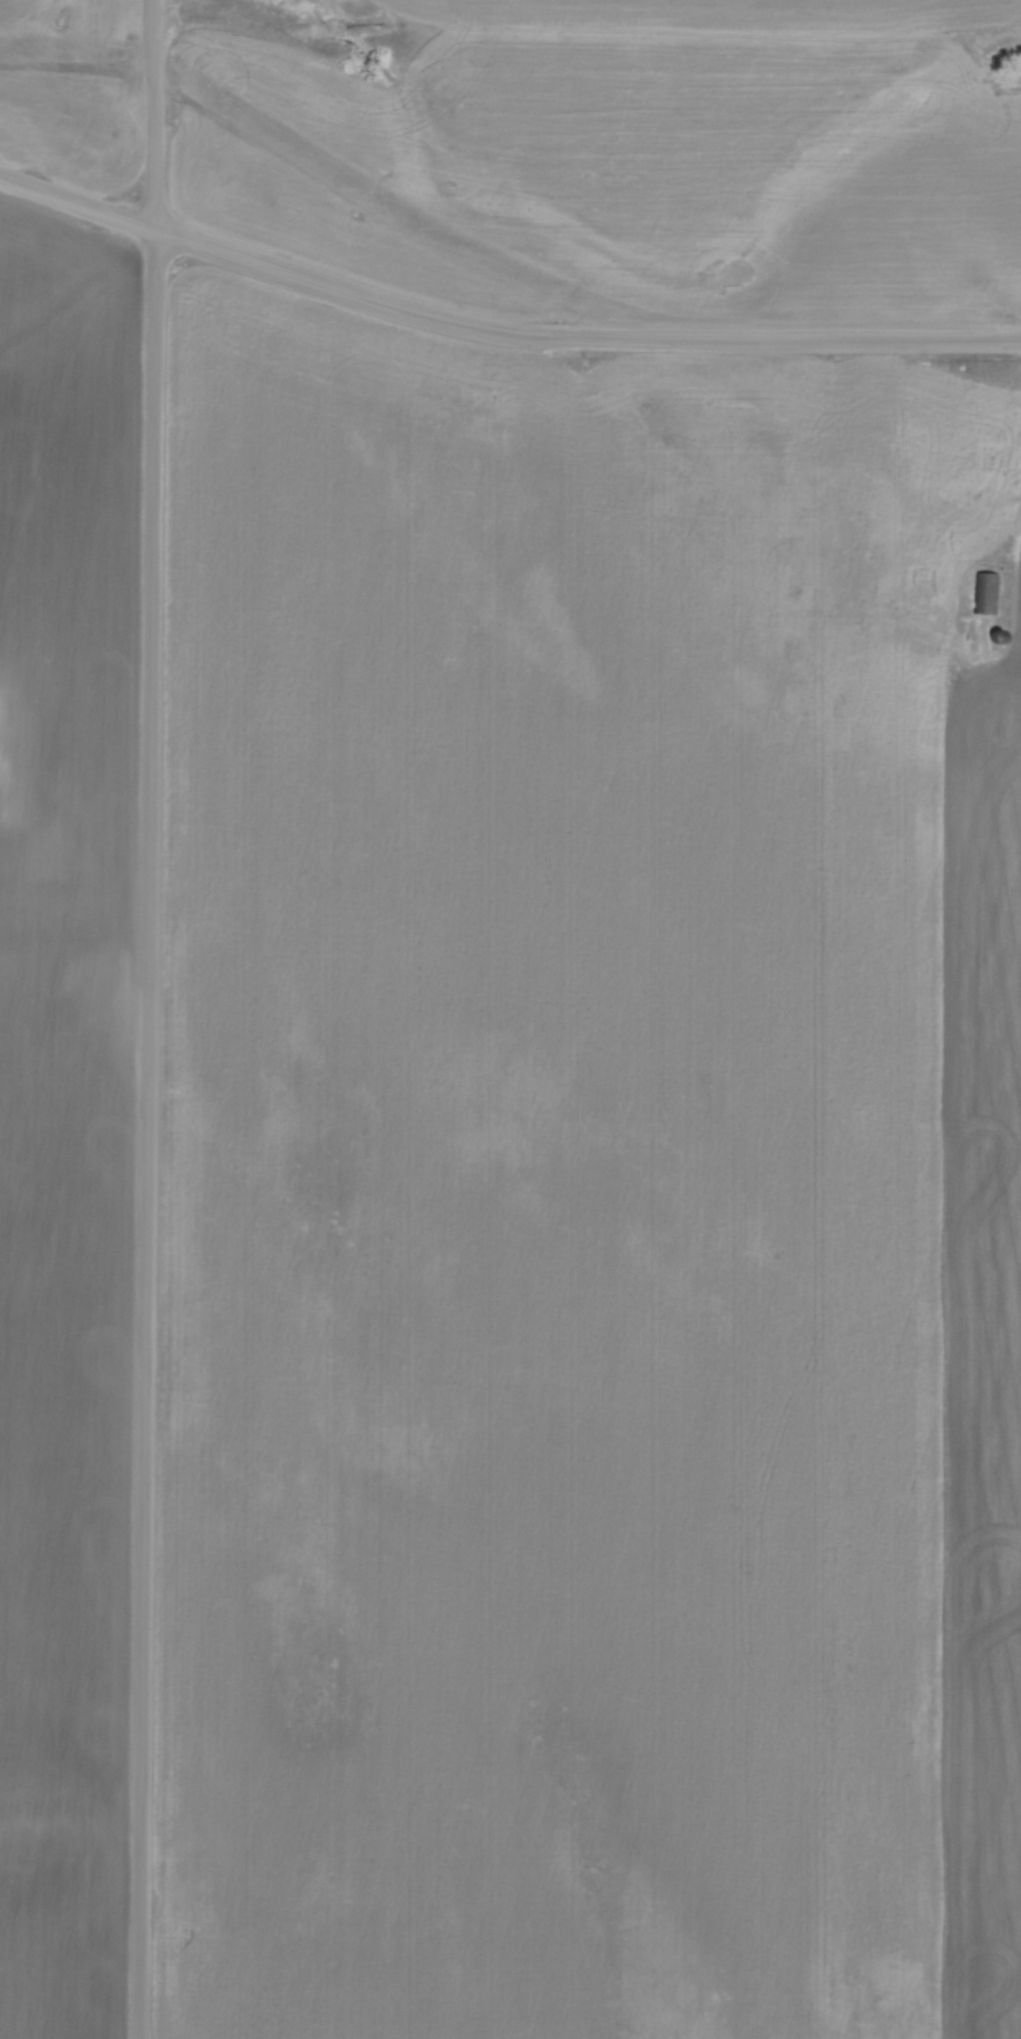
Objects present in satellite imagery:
crop: (73, 91)
road: (155, 114)
crop: (637, 158)
road: (499, 331)
road: (991, 524)
building: (985, 592)
building: (993, 636)
silo: (995, 636)
crop: (62, 1113)
road: (146, 1134)
crop: (590, 1190)

